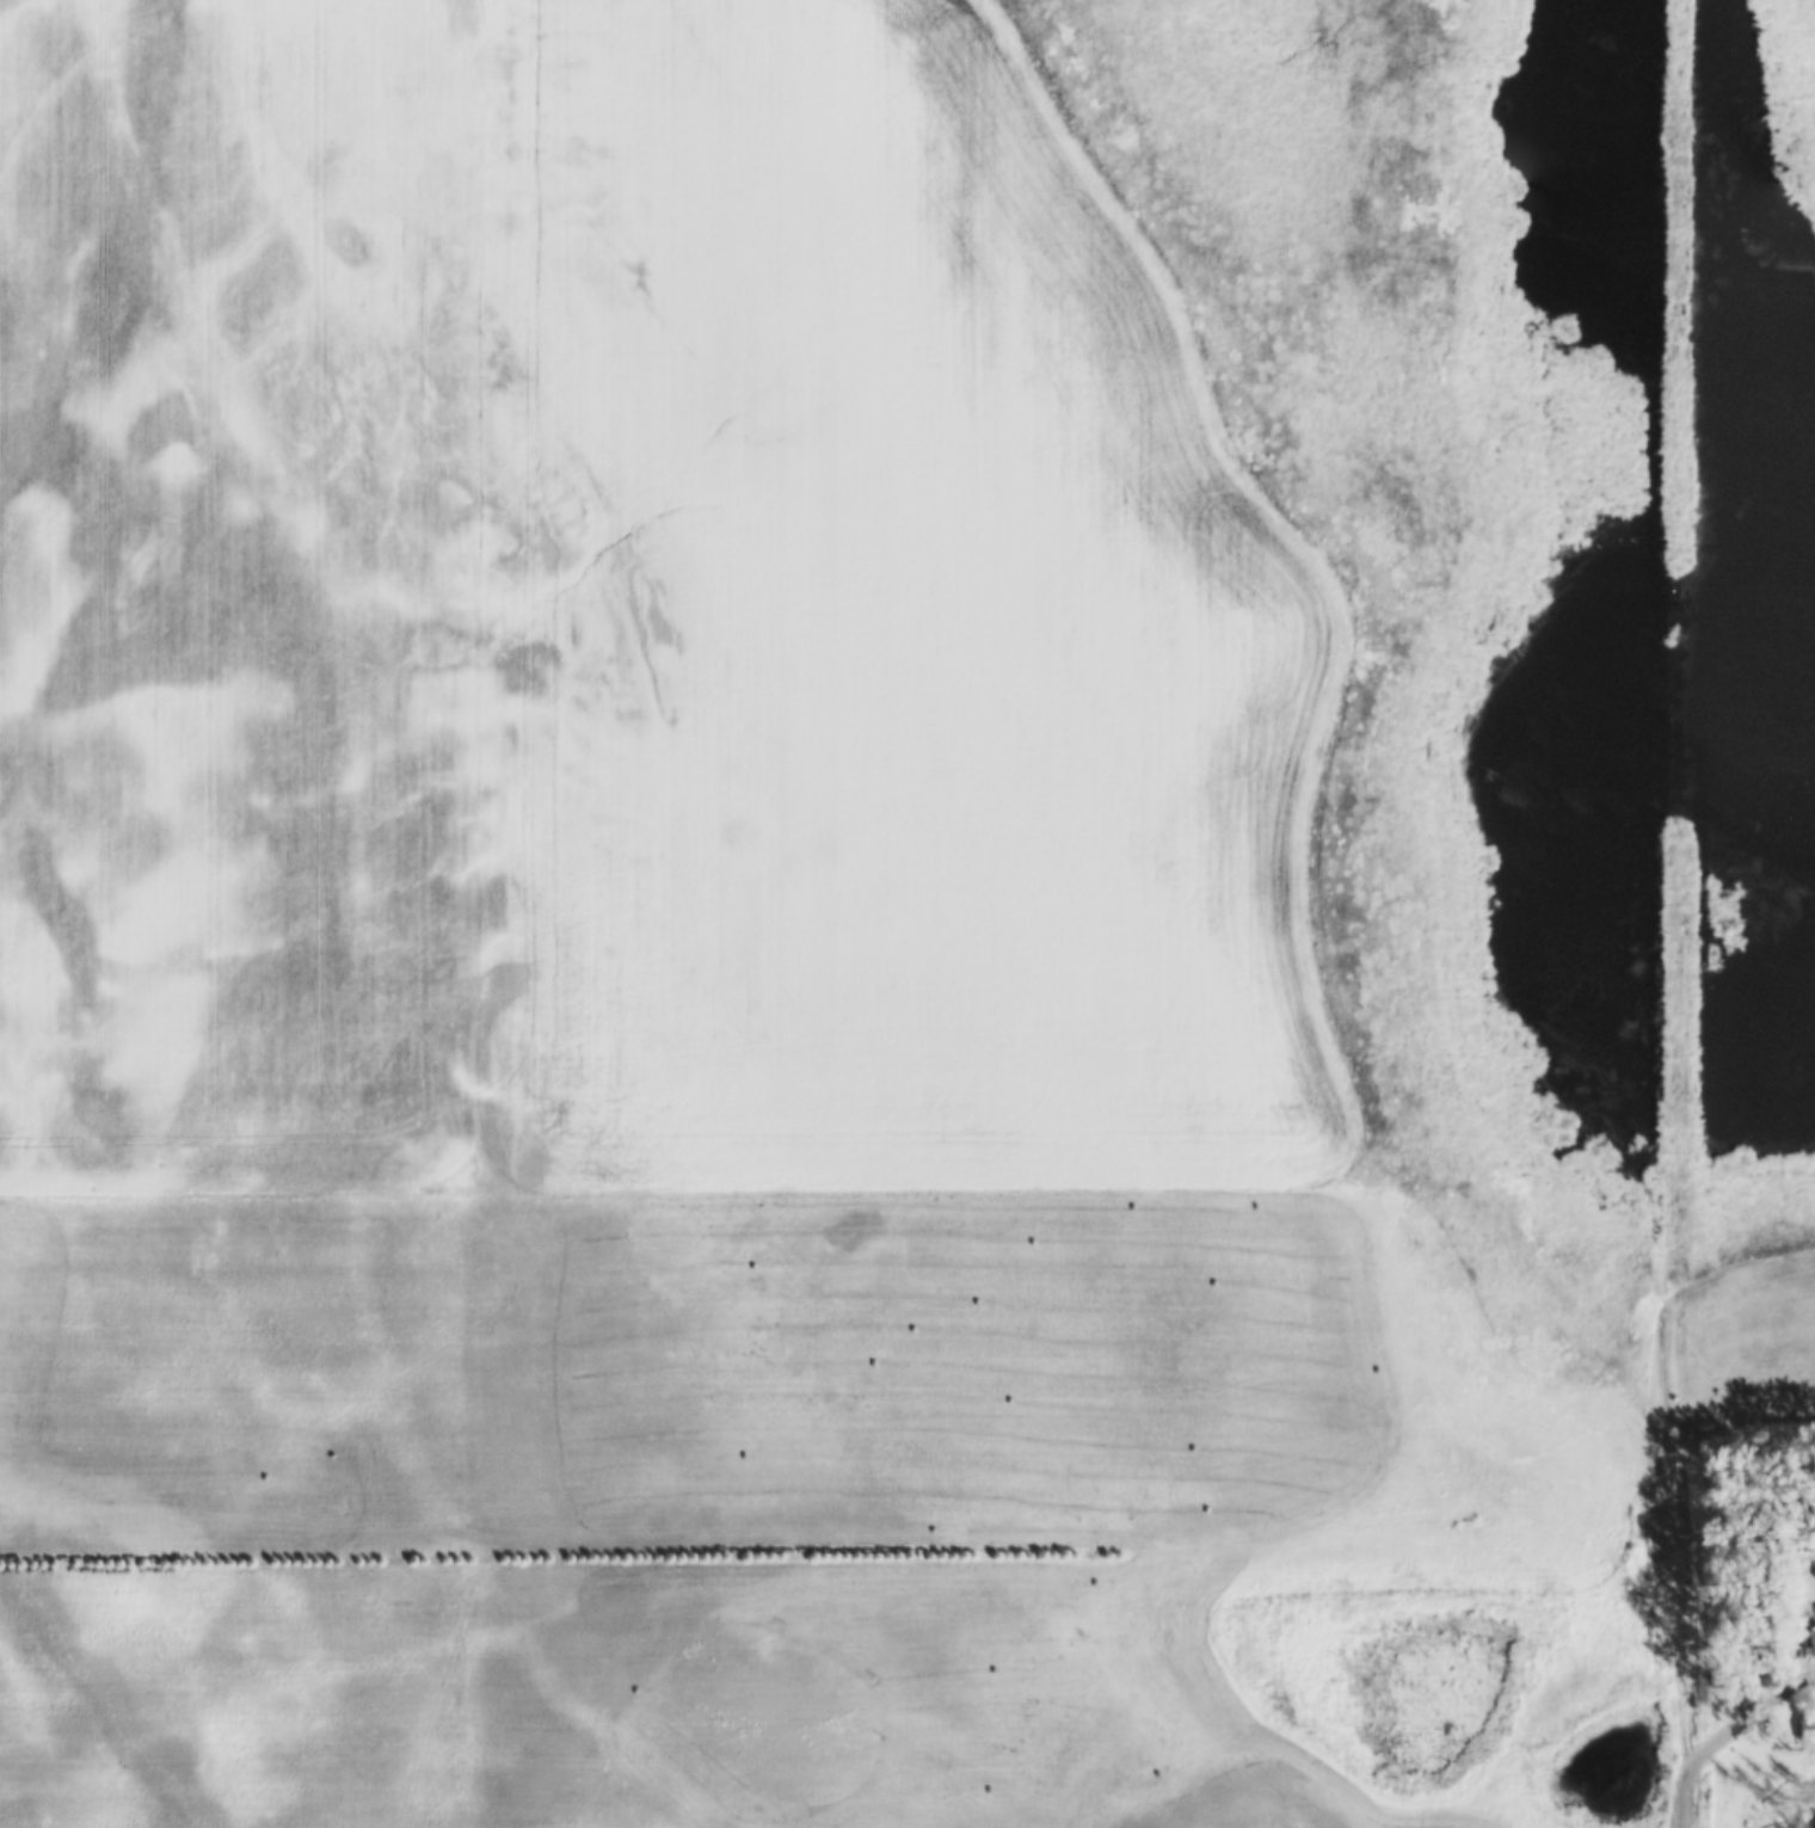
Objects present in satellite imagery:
building: (1797, 1576)
silo: (1797, 1576)
building: (1813, 1641)
building: (1807, 1729)
road: (1724, 1737)

